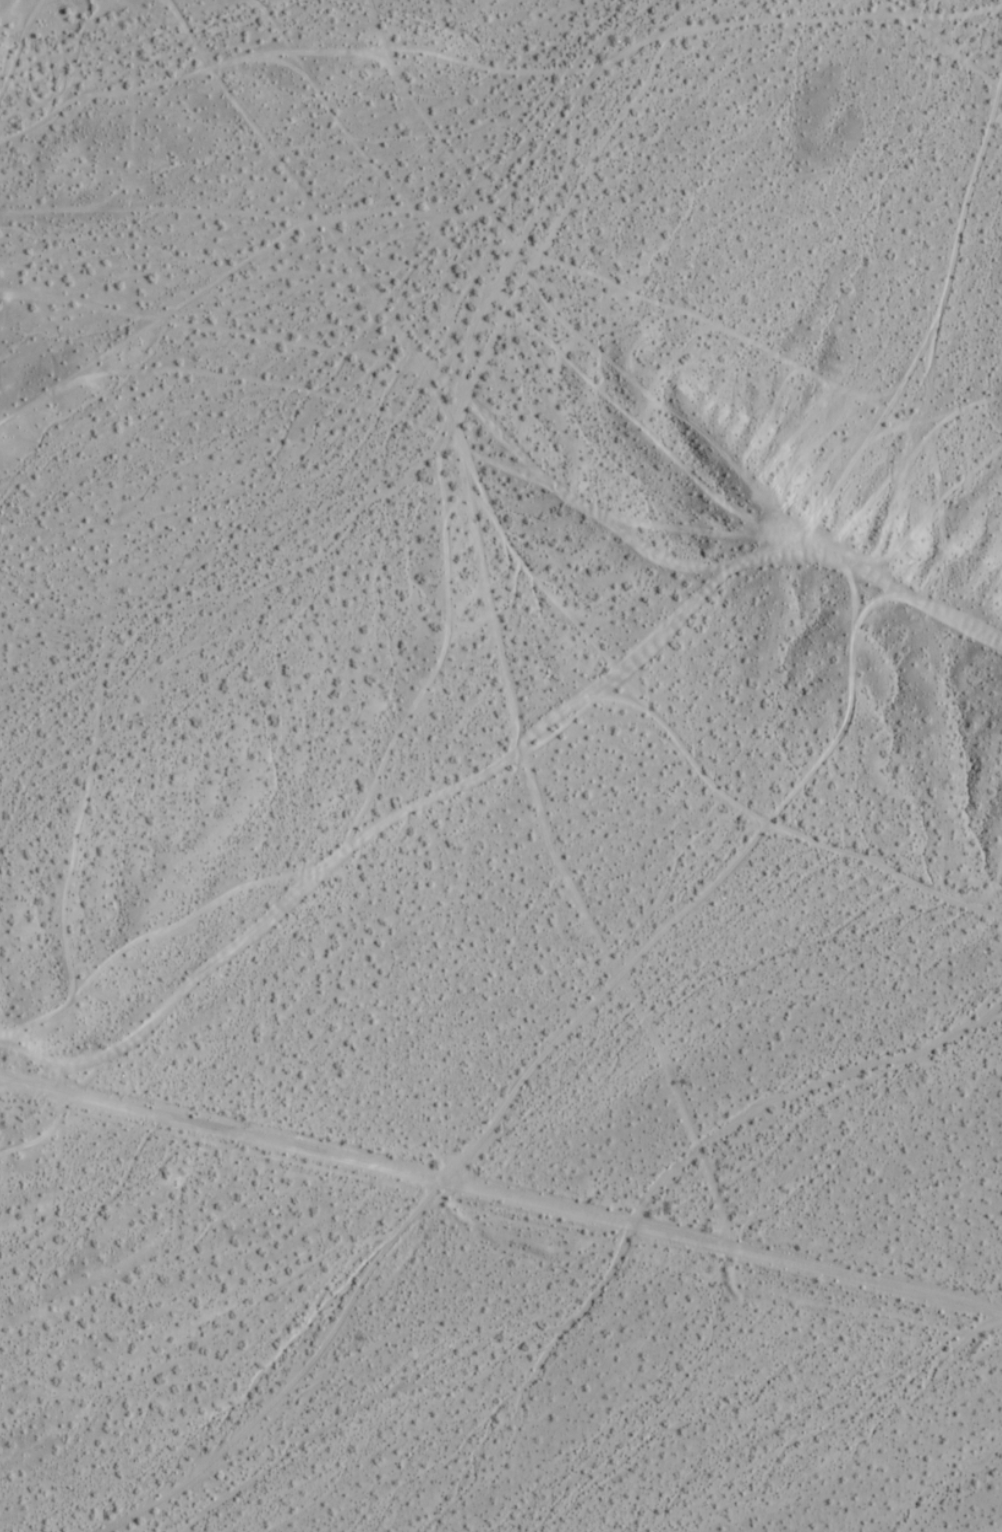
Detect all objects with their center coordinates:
road: (501, 1183)

